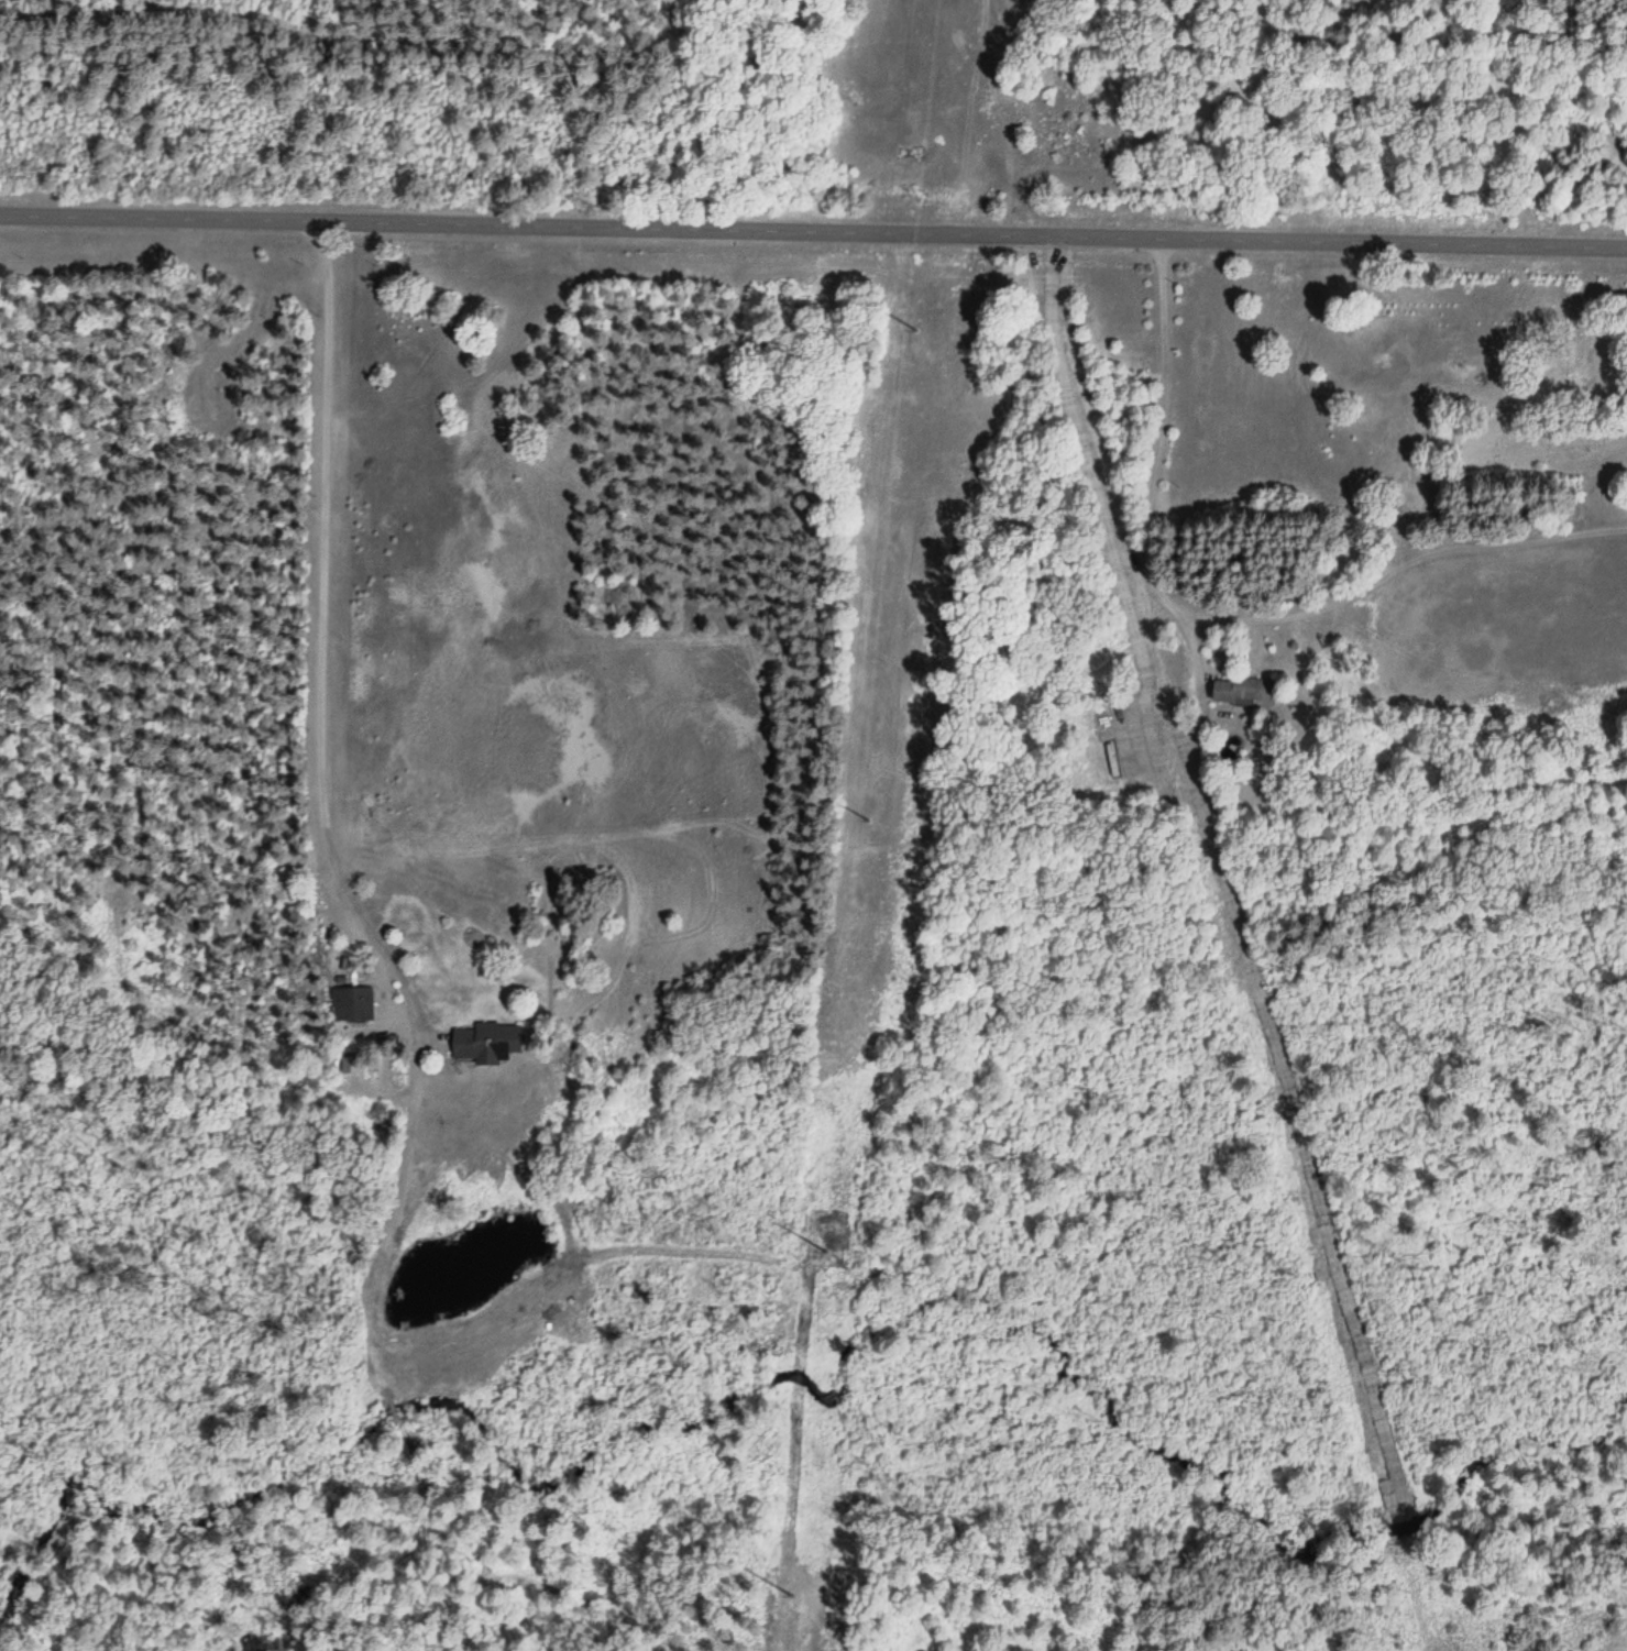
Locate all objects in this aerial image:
road: (813, 216)
road: (1576, 367)
road: (668, 395)
road: (1135, 437)
road: (321, 630)
building: (1236, 691)
building: (349, 1002)
building: (472, 1044)

